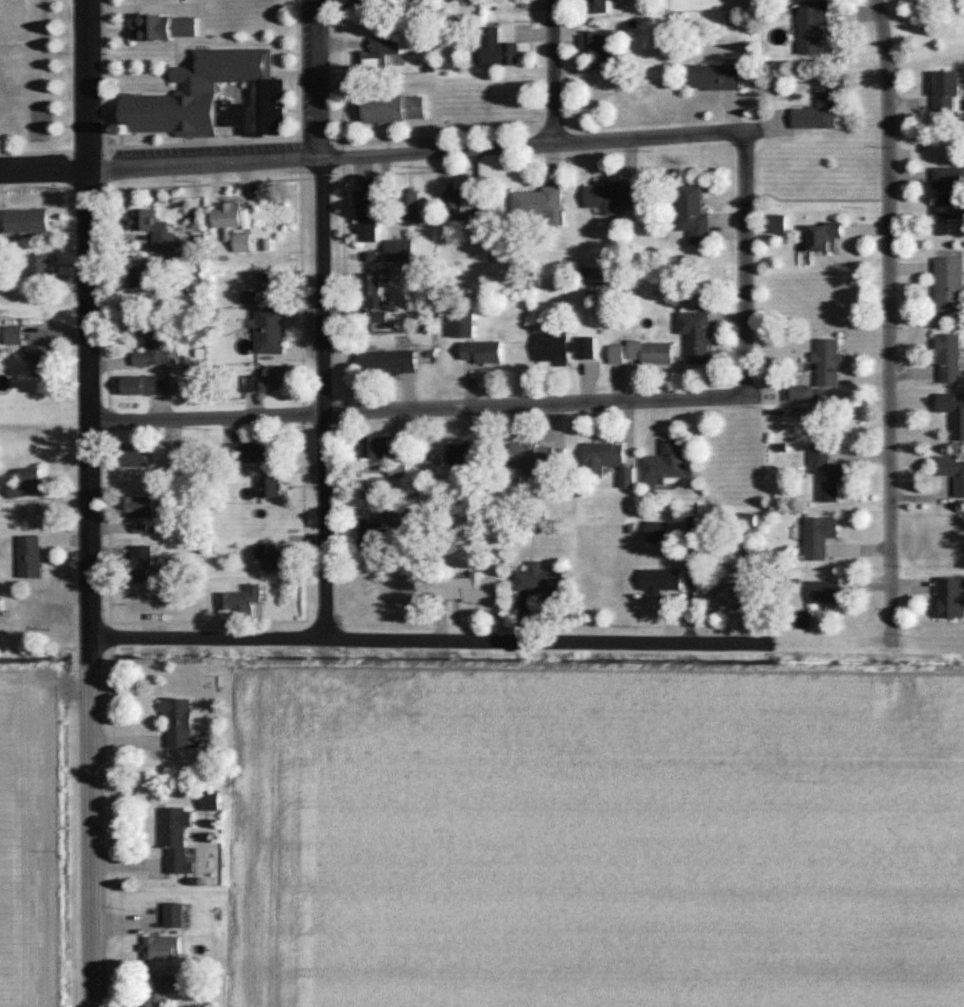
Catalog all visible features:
building: (371, 5)
building: (599, 8)
building: (168, 28)
building: (815, 29)
building: (599, 46)
building: (501, 51)
building: (382, 53)
road: (555, 71)
building: (717, 78)
building: (950, 93)
building: (216, 99)
building: (397, 111)
building: (822, 112)
road: (417, 151)
road: (45, 168)
building: (950, 194)
building: (615, 197)
building: (370, 206)
building: (540, 207)
building: (415, 210)
building: (463, 212)
building: (695, 215)
building: (39, 219)
building: (5, 221)
building: (780, 225)
building: (235, 226)
building: (155, 229)
building: (828, 238)
road: (746, 265)
building: (43, 267)
building: (146, 277)
building: (276, 284)
building: (951, 286)
building: (372, 292)
road: (91, 318)
road: (324, 320)
road: (892, 321)
building: (272, 332)
building: (16, 337)
building: (699, 337)
building: (157, 346)
building: (566, 350)
building: (484, 354)
building: (653, 354)
building: (620, 356)
building: (952, 360)
building: (44, 362)
building: (389, 365)
building: (824, 374)
building: (271, 382)
building: (147, 387)
road: (418, 410)
building: (954, 412)
building: (385, 449)
building: (270, 452)
building: (462, 456)
building: (139, 458)
building: (534, 459)
building: (605, 459)
building: (670, 465)
building: (954, 472)
building: (401, 473)
building: (829, 475)
building: (629, 480)
building: (32, 485)
building: (273, 489)
building: (375, 490)
building: (140, 509)
building: (660, 533)
building: (371, 535)
building: (822, 538)
building: (32, 558)
building: (273, 558)
building: (145, 565)
building: (663, 581)
building: (542, 584)
building: (728, 588)
building: (468, 590)
building: (828, 594)
building: (952, 599)
building: (243, 602)
building: (1, 605)
road: (434, 641)
building: (181, 724)
road: (93, 764)
building: (213, 803)
building: (179, 839)
building: (177, 917)
road: (95, 949)
building: (165, 950)
building: (165, 990)

